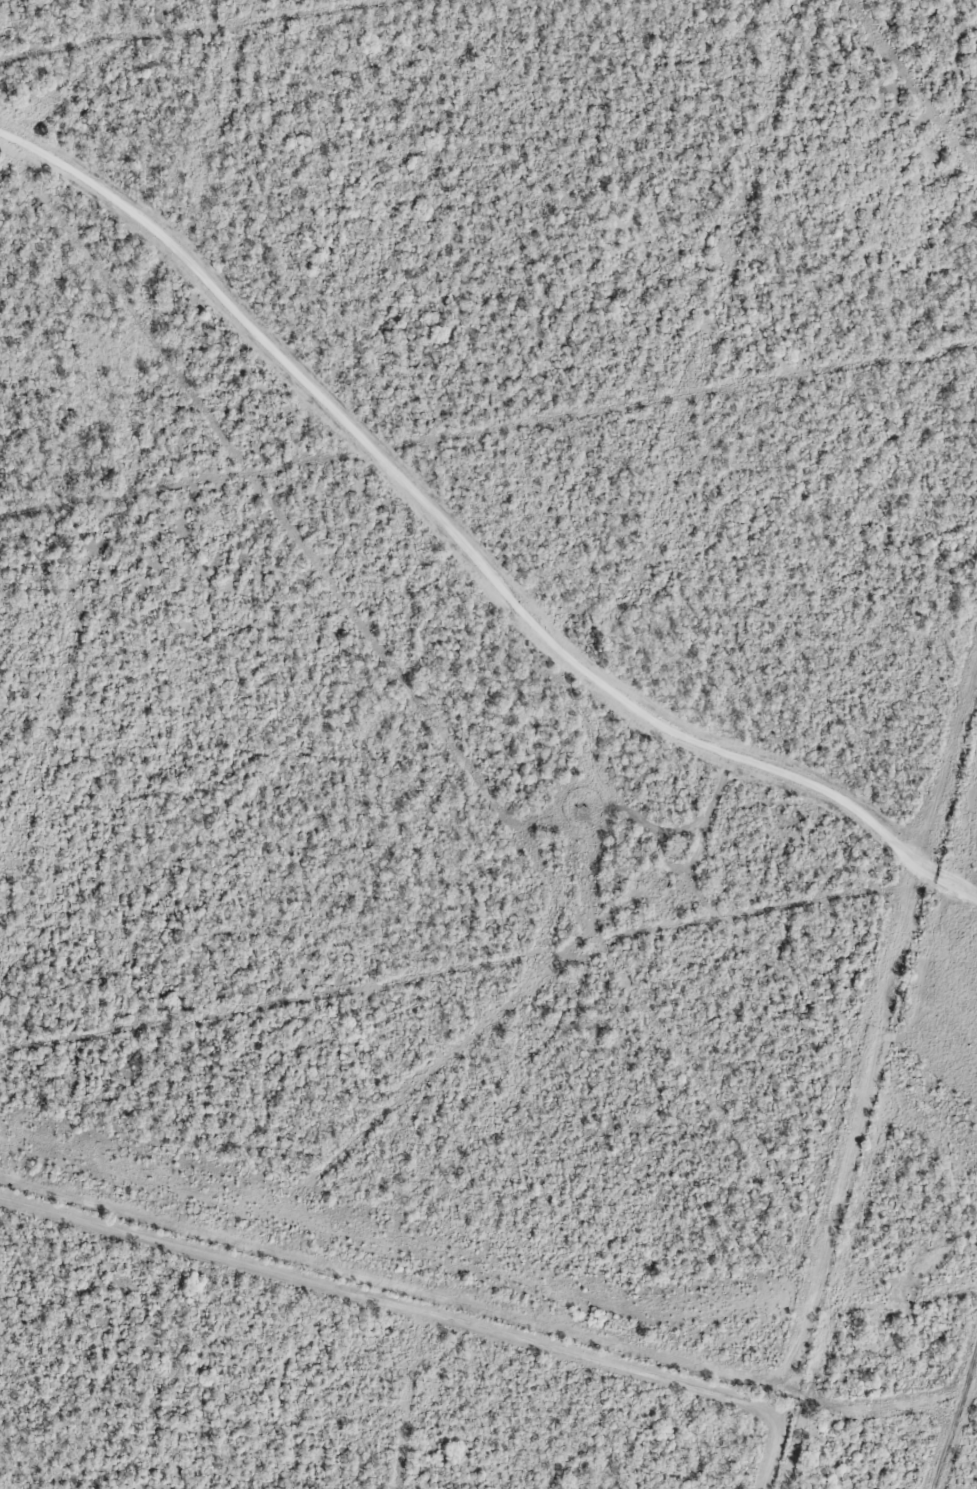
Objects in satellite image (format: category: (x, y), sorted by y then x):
road: (466, 549)

